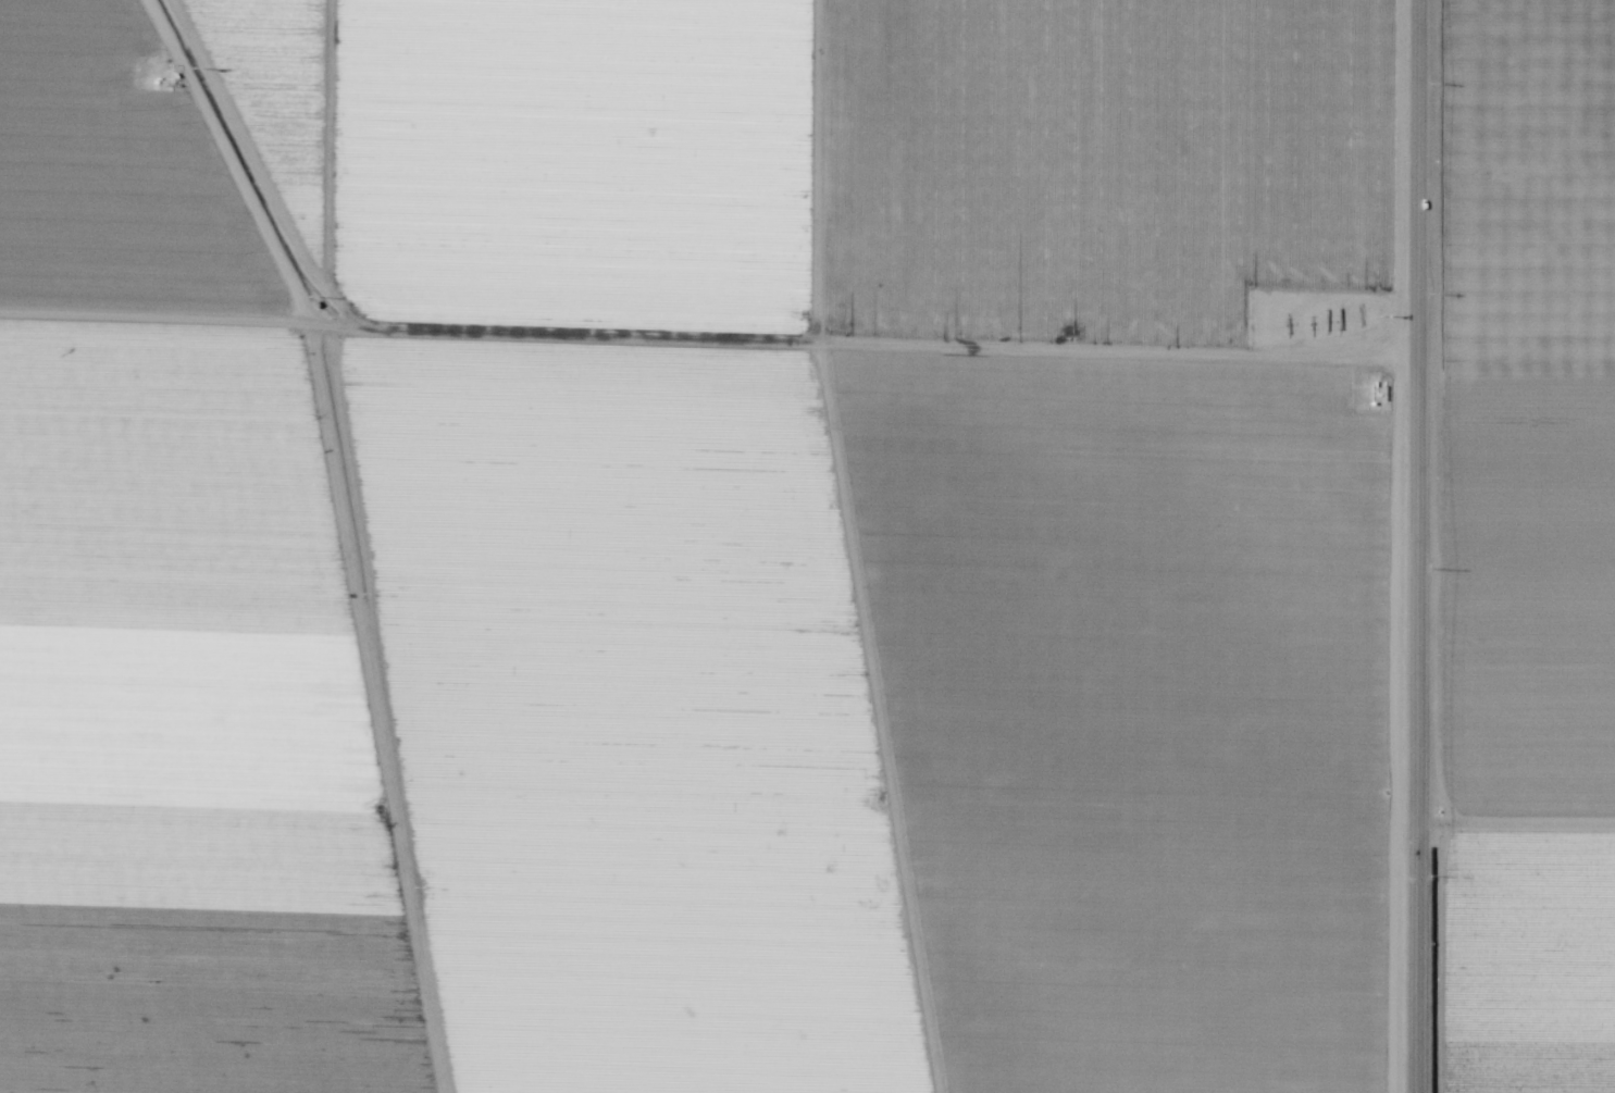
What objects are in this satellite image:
crop: (807, 546)
road: (1419, 546)

